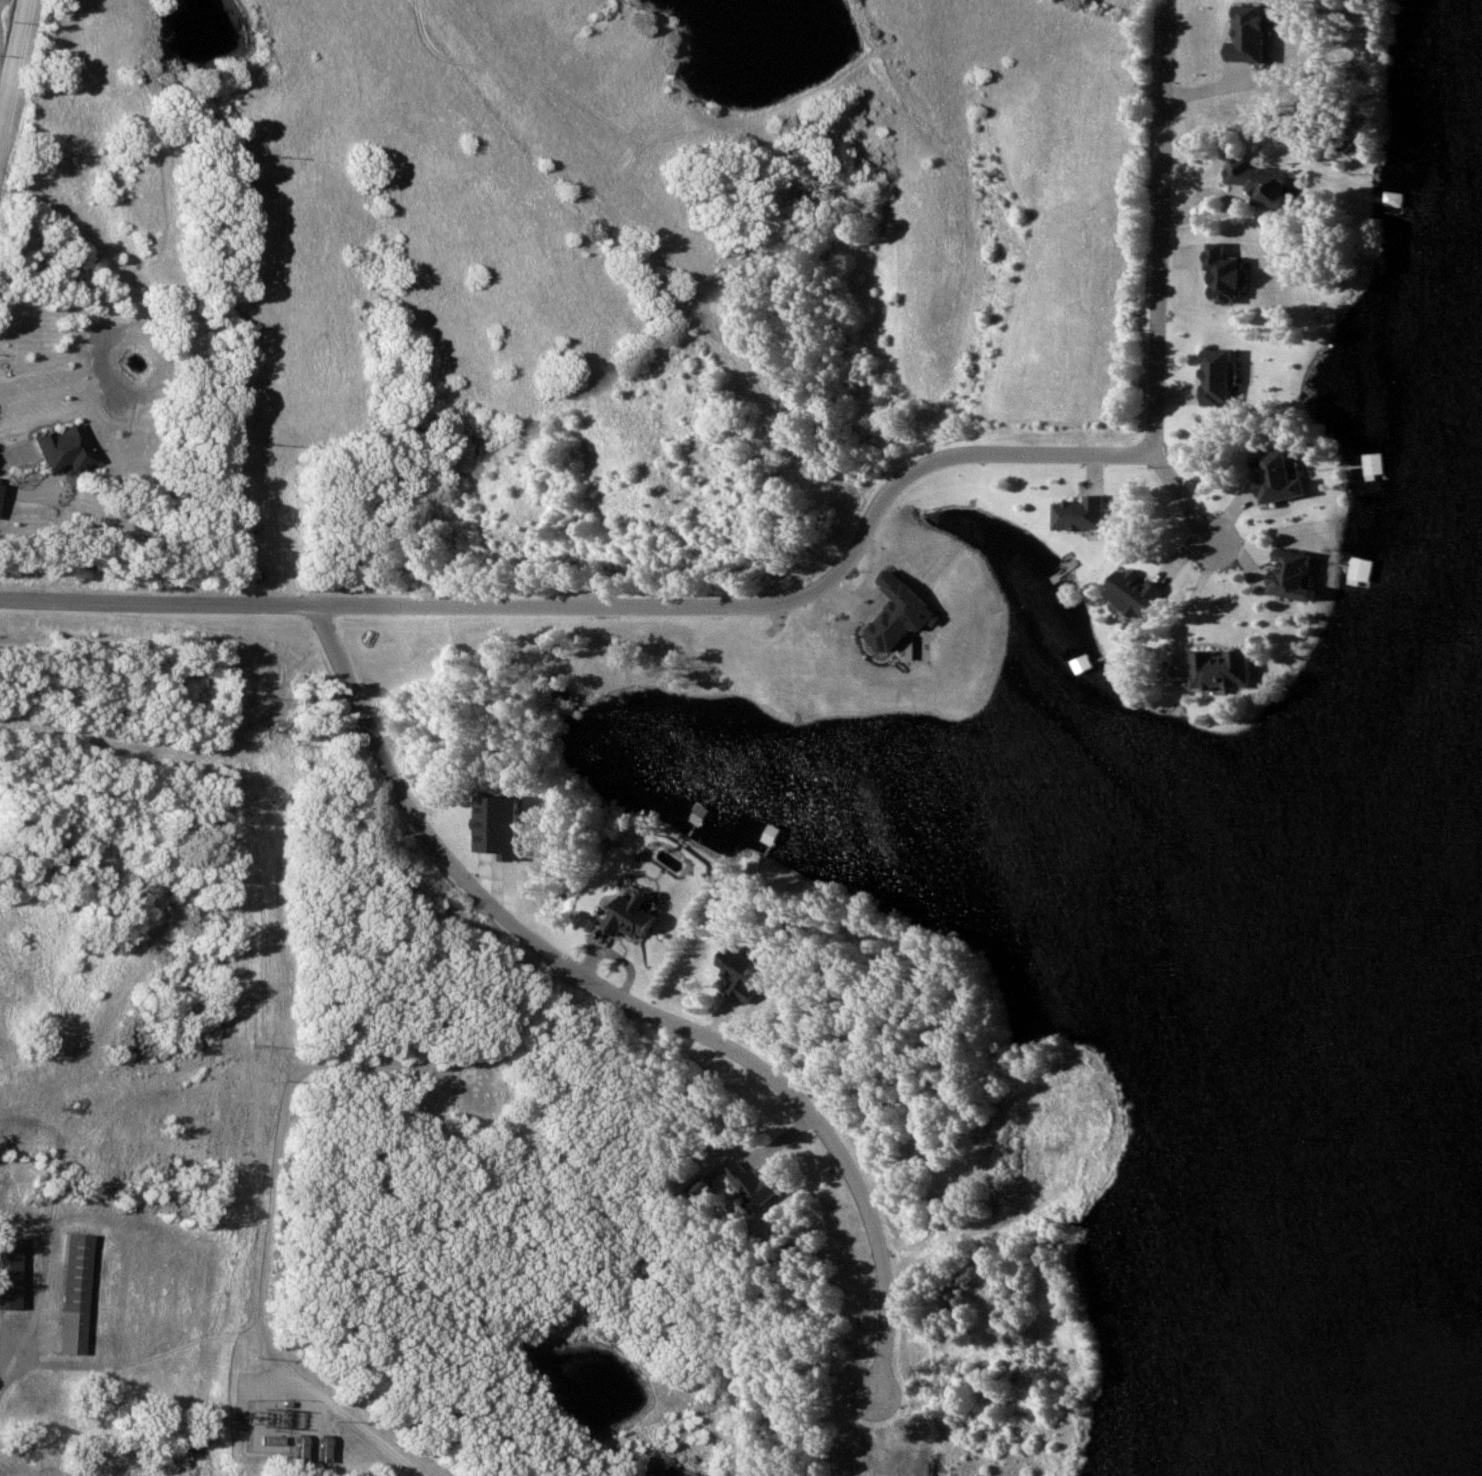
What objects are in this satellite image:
road: (12, 58)
building: (1256, 182)
building: (1376, 218)
building: (1219, 276)
building: (1212, 378)
building: (53, 449)
building: (1266, 477)
road: (1180, 497)
building: (1076, 514)
building: (1336, 569)
building: (1273, 573)
road: (827, 582)
building: (1128, 592)
building: (1209, 667)
park: (741, 738)
building: (628, 917)
building: (737, 971)
road: (627, 1000)
building: (462, 1075)
building: (14, 1178)
building: (751, 1185)
road: (268, 1234)
building: (6, 1273)
building: (70, 1295)
building: (98, 1458)
building: (153, 1462)

